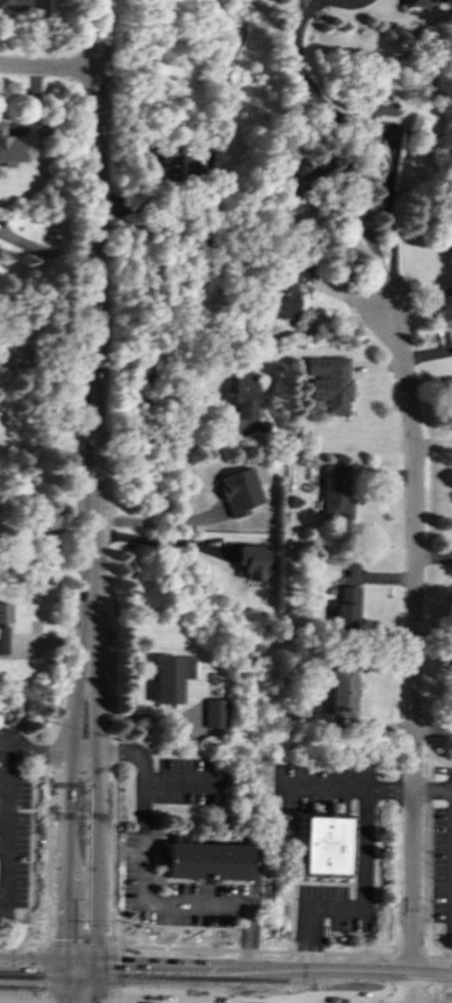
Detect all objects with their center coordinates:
building: (14, 2)
road: (343, 2)
building: (412, 2)
road: (49, 68)
road: (383, 127)
building: (10, 148)
building: (177, 164)
building: (445, 235)
road: (45, 251)
building: (283, 289)
road: (93, 334)
building: (328, 383)
building: (243, 395)
road: (154, 441)
building: (239, 491)
building: (334, 492)
road: (158, 542)
building: (252, 562)
building: (345, 607)
building: (4, 612)
building: (3, 640)
road: (414, 650)
building: (169, 678)
building: (341, 692)
building: (214, 713)
road: (1, 740)
road: (114, 745)
road: (36, 751)
road: (82, 754)
parking lot: (191, 780)
road: (183, 781)
parking lot: (319, 786)
road: (344, 787)
road: (432, 790)
road: (39, 806)
road: (66, 817)
road: (97, 818)
parking lot: (13, 821)
road: (8, 824)
building: (322, 845)
parking lot: (441, 848)
building: (206, 861)
parking lot: (174, 889)
road: (143, 892)
road: (362, 907)
parking lot: (328, 909)
road: (36, 925)
road: (32, 937)
traffic signals: (64, 939)
road: (120, 939)
road: (13, 943)
road: (75, 945)
road: (134, 945)
road: (287, 950)
road: (94, 963)
road: (31, 965)
road: (72, 966)
road: (87, 966)
road: (94, 967)
traffic signals: (117, 968)
road: (89, 970)
road: (273, 973)
road: (62, 974)
road: (78, 977)
road: (31, 981)
traffic signals: (35, 981)
road: (67, 982)
road: (93, 985)
road: (62, 992)
traffic signals: (34, 1001)
road: (45, 1001)
road: (100, 1002)

